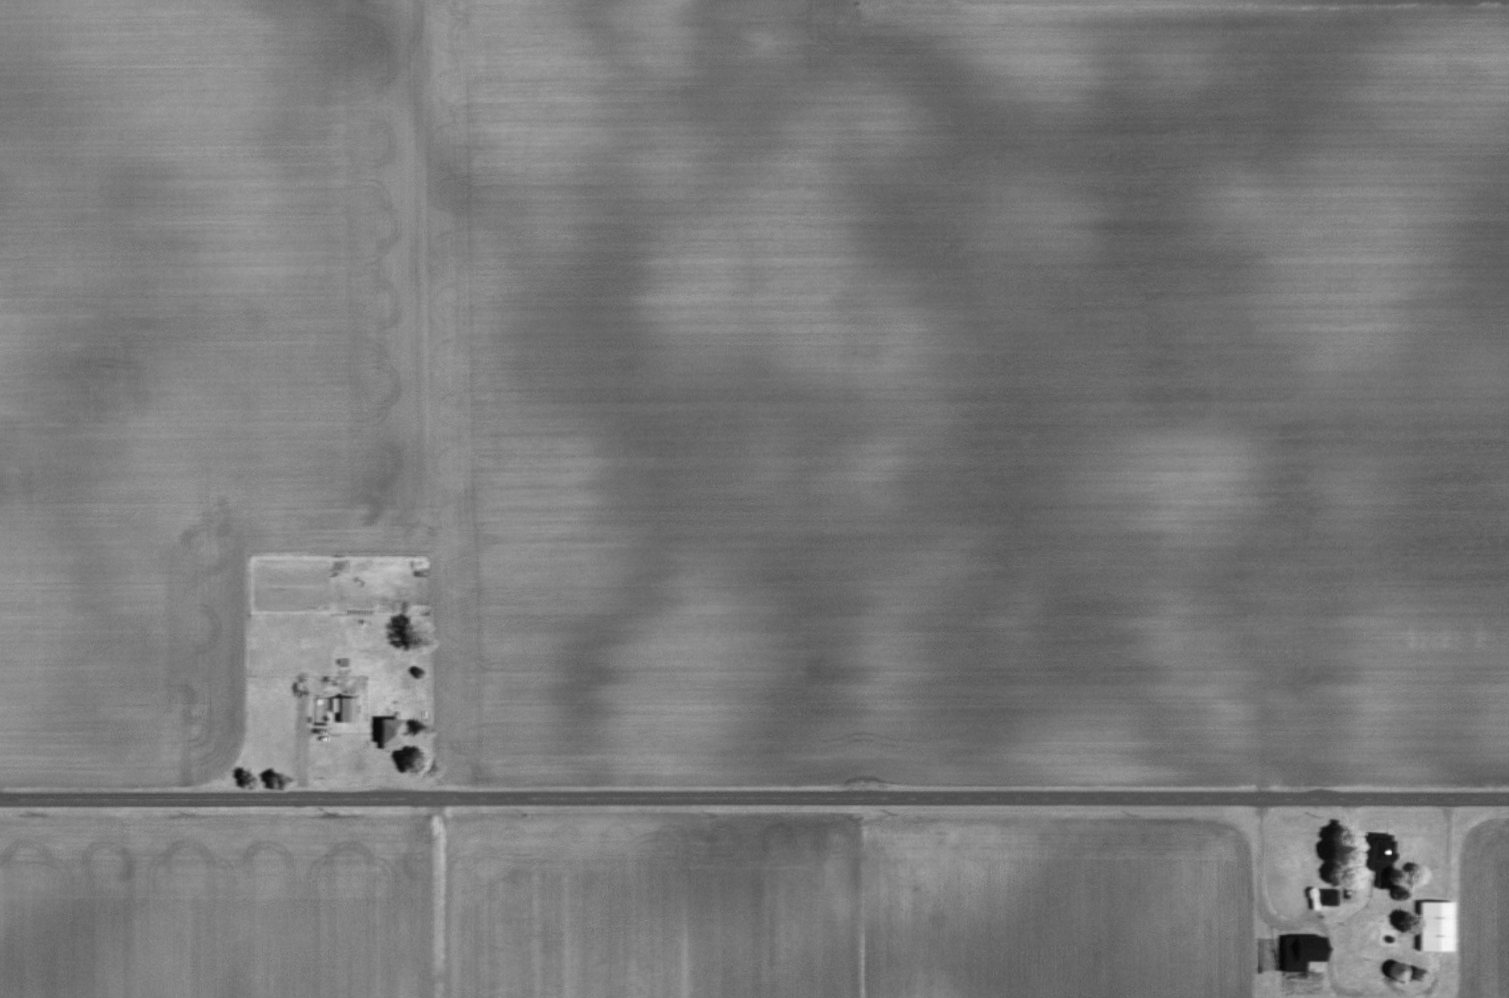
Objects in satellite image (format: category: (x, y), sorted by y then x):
road: (754, 795)
building: (1381, 847)
road: (1260, 891)
building: (1435, 927)
building: (1308, 951)

